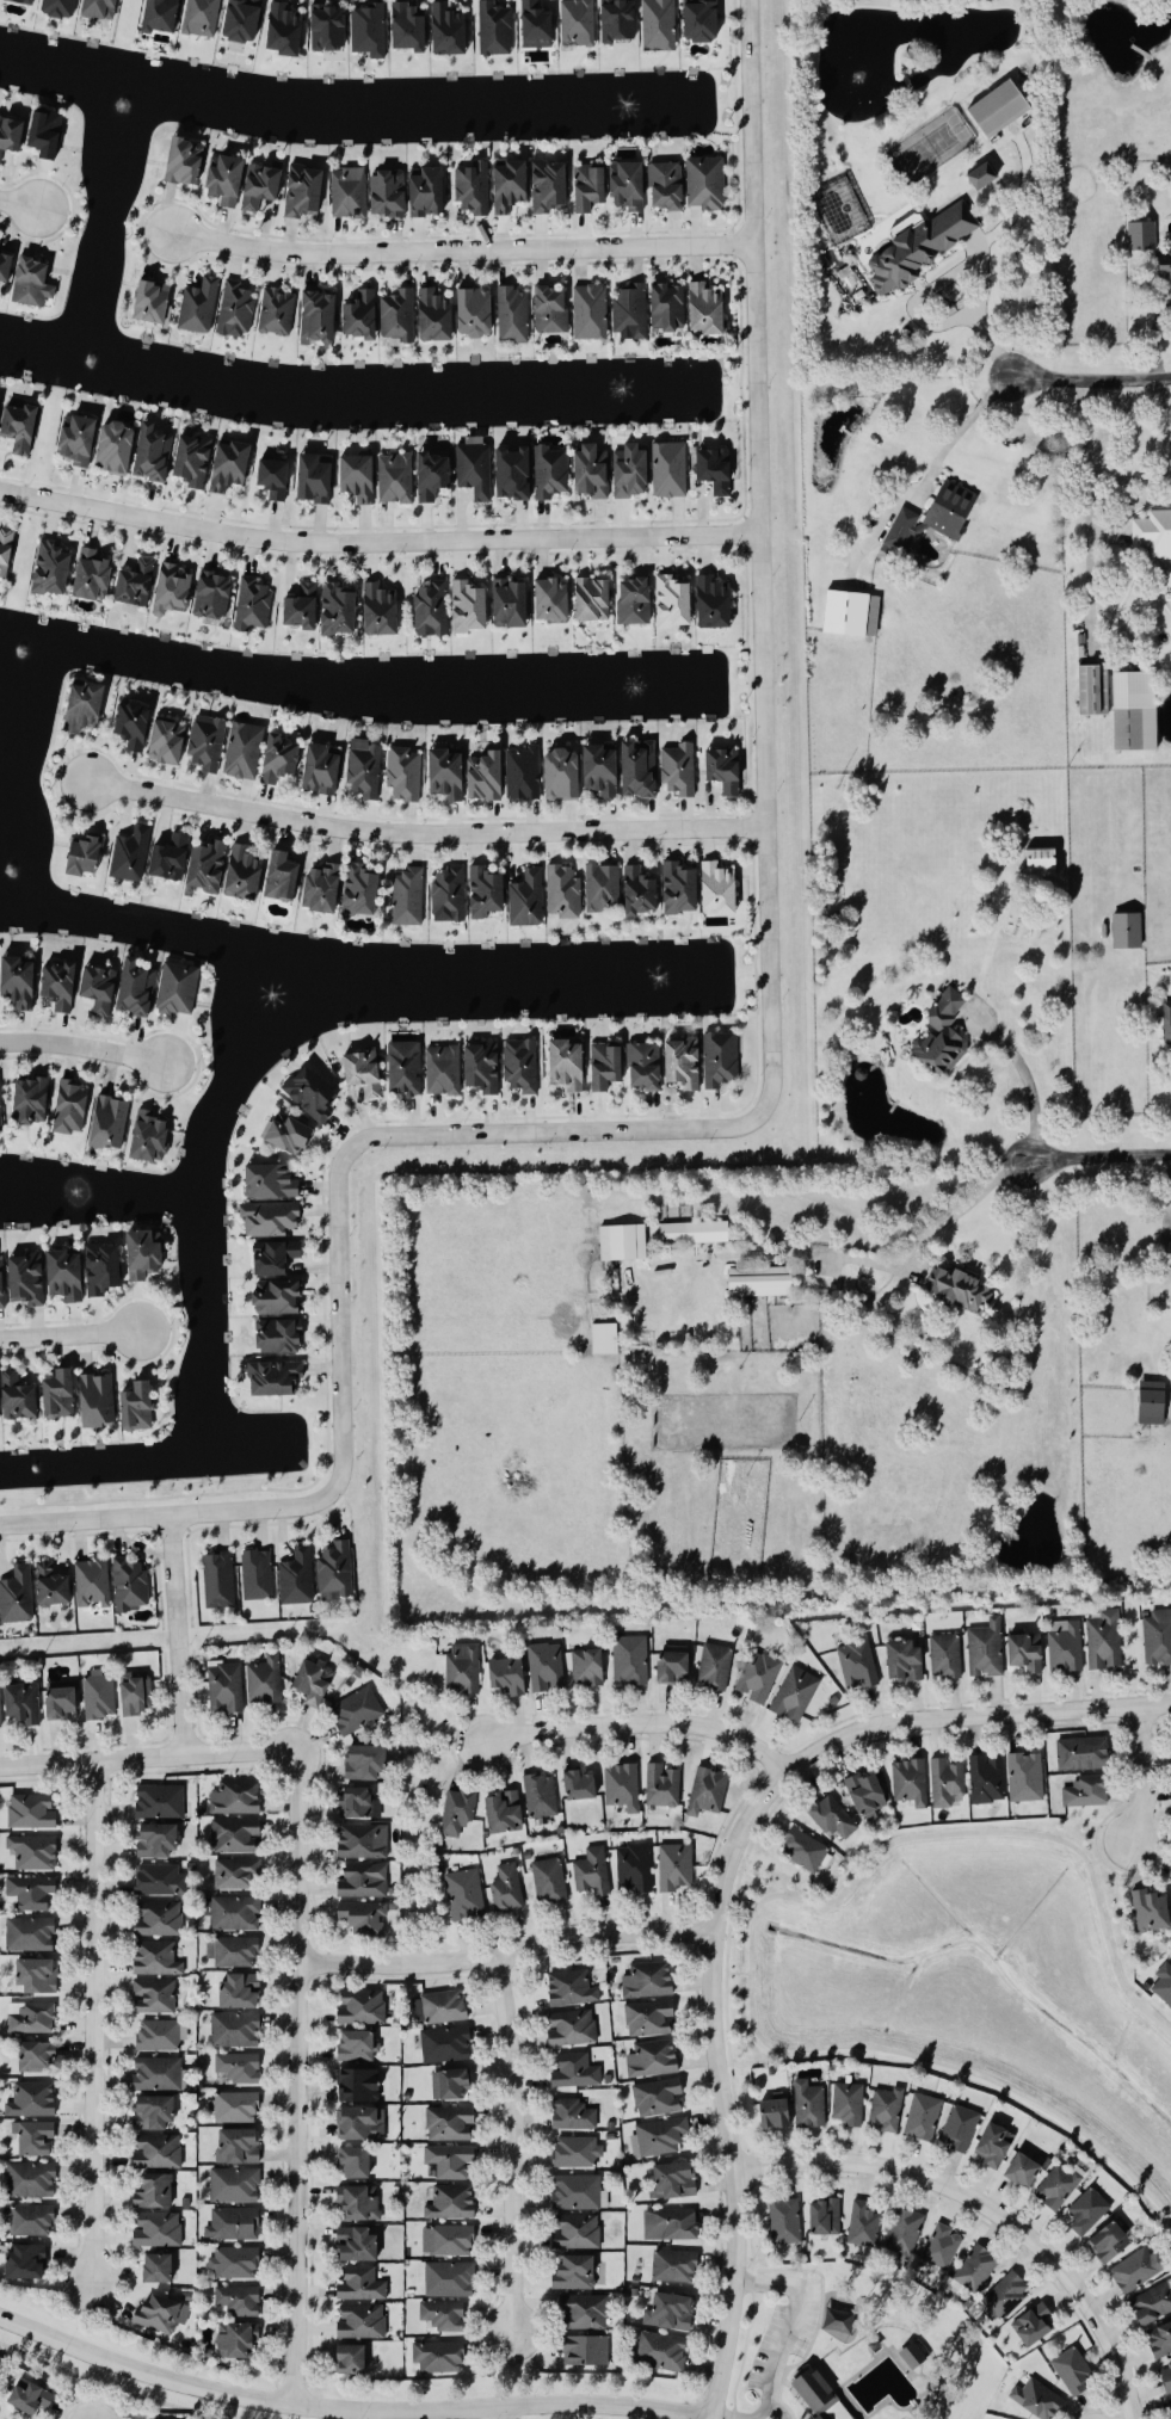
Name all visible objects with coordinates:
building: (24, 1)
building: (100, 8)
building: (161, 14)
building: (203, 17)
building: (244, 19)
building: (618, 19)
building: (702, 19)
building: (579, 23)
building: (660, 24)
building: (537, 25)
building: (329, 26)
building: (409, 26)
building: (285, 29)
building: (450, 29)
building: (497, 29)
building: (370, 30)
building: (912, 58)
fountain: (123, 104)
fountain: (622, 109)
building: (998, 109)
building: (47, 132)
building: (11, 134)
building: (185, 160)
building: (981, 177)
building: (227, 179)
building: (707, 181)
building: (629, 184)
building: (261, 185)
building: (511, 185)
building: (550, 185)
building: (667, 185)
building: (590, 186)
building: (474, 187)
building: (304, 190)
building: (429, 191)
building: (350, 192)
building: (389, 192)
road: (17, 205)
building: (1141, 236)
building: (0, 240)
building: (922, 247)
road: (458, 252)
building: (1166, 264)
road: (962, 265)
building: (5, 266)
building: (33, 282)
building: (153, 301)
building: (201, 306)
building: (668, 306)
building: (238, 308)
building: (707, 308)
building: (551, 309)
building: (475, 310)
building: (631, 310)
building: (278, 311)
building: (592, 311)
building: (513, 314)
building: (362, 315)
building: (400, 315)
building: (436, 315)
building: (319, 316)
fountain: (94, 368)
road: (1092, 382)
building: (21, 427)
road: (960, 431)
building: (78, 439)
building: (116, 448)
building: (154, 452)
building: (193, 459)
building: (230, 465)
building: (476, 469)
building: (671, 469)
building: (716, 469)
building: (633, 470)
building: (551, 471)
building: (592, 471)
building: (514, 473)
road: (1089, 474)
building: (433, 475)
building: (358, 476)
building: (275, 477)
building: (397, 477)
building: (315, 479)
road: (1123, 479)
building: (904, 529)
building: (1154, 533)
road: (377, 544)
building: (6, 550)
road: (762, 556)
building: (51, 568)
building: (93, 574)
building: (136, 584)
building: (172, 590)
building: (214, 594)
building: (553, 599)
building: (593, 599)
building: (635, 601)
building: (673, 601)
building: (511, 603)
building: (715, 603)
building: (254, 604)
building: (303, 606)
building: (469, 606)
building: (432, 609)
building: (339, 610)
building: (381, 610)
building: (845, 613)
fountain: (17, 649)
building: (1096, 689)
building: (85, 706)
building: (1136, 711)
building: (134, 724)
building: (167, 741)
building: (208, 742)
building: (245, 751)
building: (281, 758)
building: (321, 769)
building: (639, 769)
building: (602, 770)
building: (680, 770)
building: (726, 770)
building: (366, 772)
building: (406, 773)
building: (524, 773)
building: (446, 775)
building: (563, 775)
building: (486, 776)
road: (424, 833)
building: (131, 854)
building: (85, 856)
building: (171, 858)
building: (1040, 863)
building: (208, 866)
fountain: (8, 870)
building: (244, 874)
building: (283, 876)
building: (603, 885)
building: (323, 888)
building: (680, 889)
building: (720, 889)
building: (362, 891)
building: (565, 891)
building: (641, 891)
building: (487, 893)
building: (450, 895)
building: (409, 896)
building: (529, 899)
building: (1127, 931)
building: (18, 982)
building: (60, 986)
building: (136, 988)
building: (179, 988)
building: (99, 989)
fountain: (269, 1004)
building: (1167, 1024)
building: (943, 1033)
road: (81, 1049)
building: (722, 1059)
building: (684, 1063)
building: (567, 1065)
building: (523, 1066)
building: (646, 1066)
building: (406, 1067)
building: (483, 1067)
building: (608, 1067)
building: (444, 1070)
building: (365, 1073)
road: (1029, 1085)
building: (312, 1094)
building: (31, 1101)
building: (72, 1107)
building: (0, 1110)
building: (110, 1123)
road: (556, 1131)
building: (289, 1134)
building: (149, 1137)
road: (1101, 1162)
building: (271, 1181)
fountain: (79, 1195)
building: (271, 1218)
building: (694, 1234)
road: (933, 1235)
building: (622, 1242)
building: (144, 1254)
building: (277, 1258)
building: (103, 1270)
building: (66, 1276)
building: (27, 1279)
building: (760, 1282)
building: (2, 1284)
building: (960, 1289)
building: (278, 1298)
road: (338, 1322)
road: (68, 1335)
building: (281, 1337)
building: (604, 1339)
building: (276, 1378)
building: (60, 1395)
building: (18, 1397)
building: (97, 1401)
building: (1152, 1403)
building: (138, 1408)
fountain: (32, 1476)
road: (165, 1514)
building: (335, 1572)
building: (257, 1575)
building: (297, 1579)
building: (218, 1580)
building: (92, 1584)
building: (134, 1585)
building: (53, 1586)
building: (18, 1596)
road: (174, 1634)
building: (1157, 1639)
building: (1104, 1642)
building: (1065, 1647)
building: (985, 1650)
building: (1027, 1653)
building: (945, 1656)
building: (630, 1661)
building: (904, 1662)
building: (857, 1666)
building: (672, 1667)
building: (546, 1668)
building: (587, 1668)
building: (715, 1668)
building: (462, 1671)
building: (507, 1676)
building: (758, 1678)
building: (263, 1680)
building: (310, 1684)
building: (226, 1687)
building: (795, 1695)
building: (132, 1697)
building: (99, 1698)
building: (62, 1703)
building: (23, 1705)
building: (1, 1708)
building: (356, 1713)
road: (636, 1726)
building: (1083, 1754)
road: (146, 1755)
building: (364, 1764)
road: (1140, 1777)
building: (1025, 1778)
building: (987, 1781)
building: (910, 1783)
building: (579, 1785)
building: (948, 1785)
building: (661, 1787)
building: (622, 1788)
building: (707, 1792)
building: (1087, 1792)
building: (865, 1796)
building: (541, 1797)
building: (235, 1800)
building: (159, 1802)
building: (356, 1803)
building: (33, 1810)
building: (457, 1813)
building: (504, 1813)
building: (833, 1818)
building: (236, 1838)
building: (363, 1841)
building: (153, 1843)
building: (803, 1851)
building: (37, 1852)
building: (676, 1868)
building: (634, 1870)
building: (592, 1874)
building: (239, 1875)
building: (369, 1881)
building: (159, 1882)
building: (549, 1882)
building: (507, 1888)
road: (719, 1889)
building: (31, 1892)
building: (464, 1896)
building: (1151, 1913)
building: (234, 1914)
building: (364, 1918)
building: (158, 1920)
road: (748, 1926)
building: (31, 1934)
building: (234, 1952)
road: (507, 1956)
building: (156, 1958)
road: (729, 1975)
building: (37, 1976)
building: (647, 1981)
building: (1164, 1983)
building: (571, 1989)
building: (239, 1993)
building: (154, 1997)
building: (443, 2007)
building: (362, 2008)
building: (29, 2019)
building: (649, 2019)
road: (92, 2023)
building: (235, 2030)
building: (572, 2030)
building: (156, 2036)
building: (360, 2045)
building: (445, 2045)
building: (32, 2056)
building: (652, 2060)
building: (238, 2071)
building: (575, 2073)
building: (158, 2074)
road: (297, 2075)
building: (450, 2086)
building: (358, 2087)
building: (658, 2099)
building: (30, 2102)
building: (848, 2105)
building: (809, 2106)
building: (235, 2108)
building: (886, 2111)
building: (153, 2115)
building: (573, 2116)
building: (775, 2116)
building: (923, 2118)
building: (360, 2125)
building: (450, 2125)
building: (959, 2130)
building: (32, 2137)
building: (659, 2137)
building: (235, 2145)
road: (511, 2146)
building: (994, 2147)
building: (156, 2152)
building: (577, 2153)
building: (1037, 2159)
building: (449, 2162)
building: (355, 2164)
building: (1023, 2172)
building: (674, 2180)
building: (31, 2183)
building: (233, 2186)
building: (155, 2193)
building: (579, 2193)
building: (359, 2204)
building: (451, 2204)
road: (985, 2208)
building: (1086, 2214)
building: (825, 2219)
building: (32, 2222)
building: (784, 2223)
building: (233, 2224)
building: (670, 2226)
building: (864, 2226)
building: (156, 2230)
building: (577, 2233)
building: (904, 2234)
building: (1113, 2239)
building: (448, 2242)
building: (356, 2246)
building: (942, 2248)
building: (234, 2263)
building: (25, 2264)
building: (674, 2266)
building: (158, 2270)
building: (976, 2270)
building: (1138, 2270)
building: (574, 2273)
building: (449, 2279)
building: (360, 2285)
building: (1006, 2295)
building: (236, 2302)
building: (1153, 2303)
building: (670, 2312)
building: (583, 2313)
building: (161, 2314)
building: (443, 2316)
building: (362, 2322)
building: (1035, 2325)
road: (779, 2331)
building: (1160, 2340)
building: (234, 2341)
building: (874, 2345)
park: (853, 2347)
building: (586, 2350)
building: (662, 2352)
building: (438, 2357)
building: (355, 2359)
building: (1073, 2371)
building: (1166, 2377)
building: (812, 2390)
building: (30, 2398)
building: (1037, 2400)
building: (1170, 2405)
road: (347, 2411)
road: (497, 2413)
road: (710, 2418)

